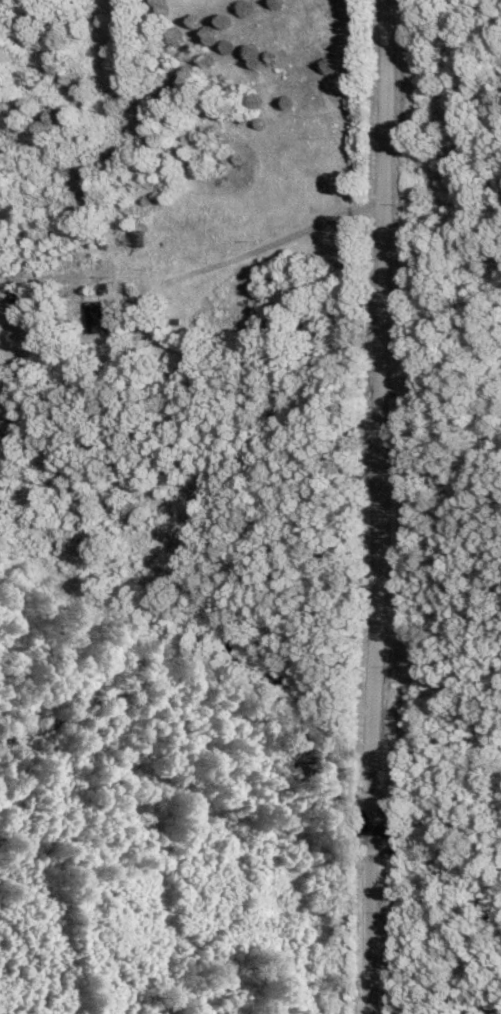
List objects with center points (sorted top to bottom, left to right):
building: (132, 244)
building: (93, 323)
road: (375, 507)
park: (436, 512)
river: (432, 896)

